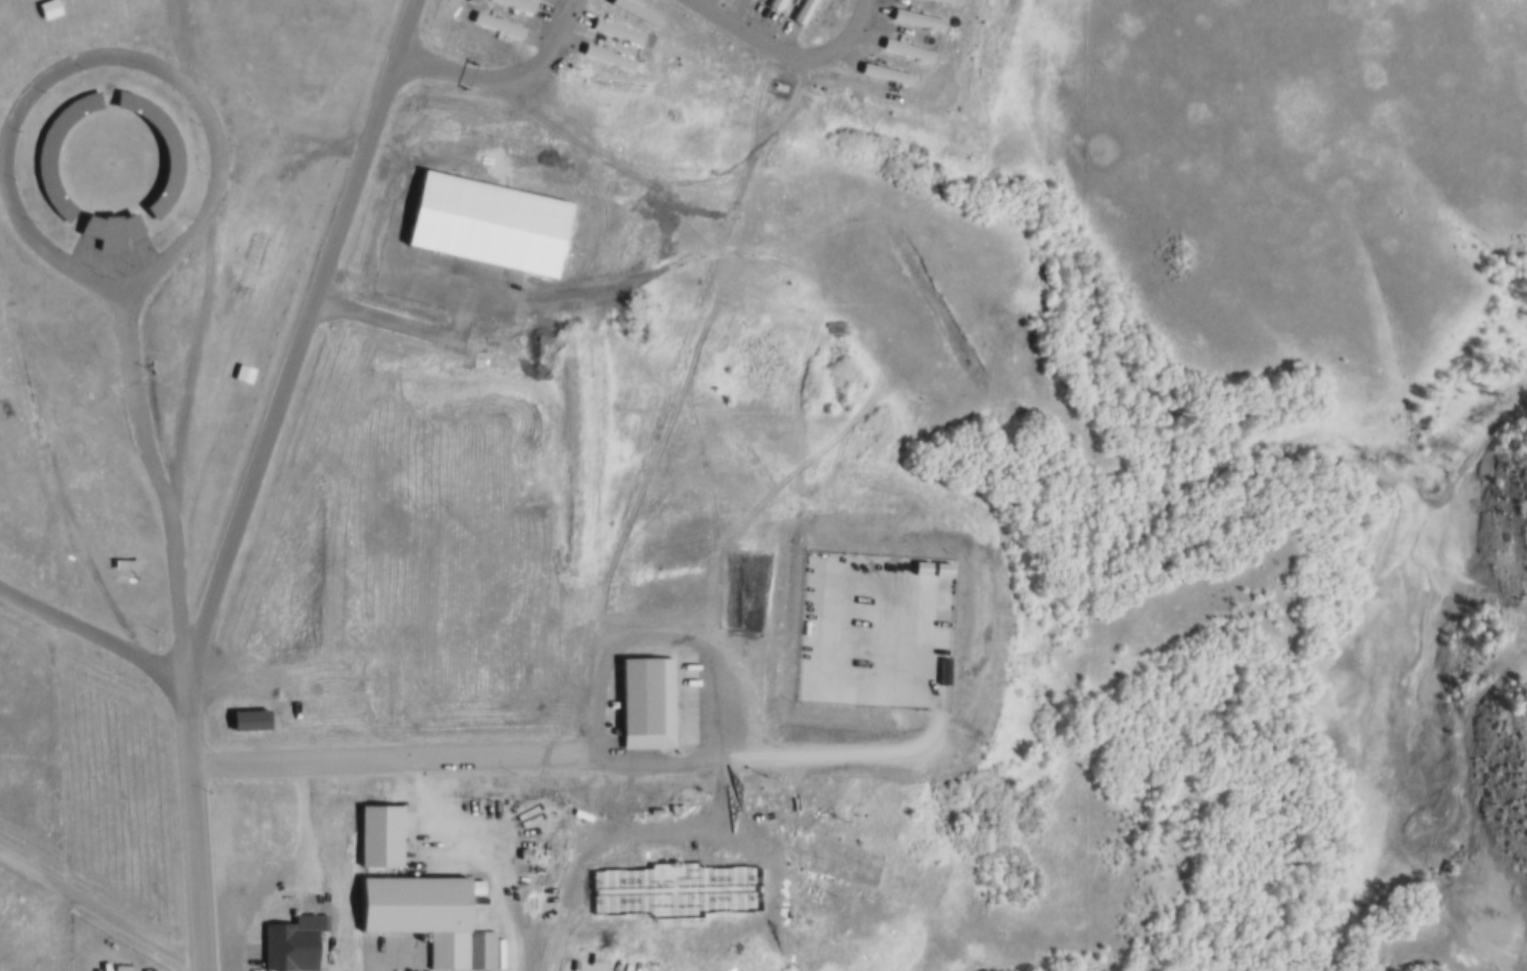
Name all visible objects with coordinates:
building: (932, 2)
building: (516, 4)
building: (771, 5)
building: (799, 12)
building: (632, 13)
building: (914, 21)
building: (495, 24)
building: (614, 32)
building: (904, 52)
building: (604, 58)
building: (882, 75)
building: (172, 154)
building: (44, 157)
building: (31, 226)
building: (110, 228)
road: (205, 271)
building: (145, 287)
road: (300, 339)
road: (150, 456)
road: (89, 640)
road: (685, 668)
building: (644, 706)
building: (248, 718)
road: (393, 759)
road: (193, 824)
building: (379, 836)
building: (673, 892)
road: (99, 905)
building: (417, 915)
road: (58, 928)
building: (287, 944)

